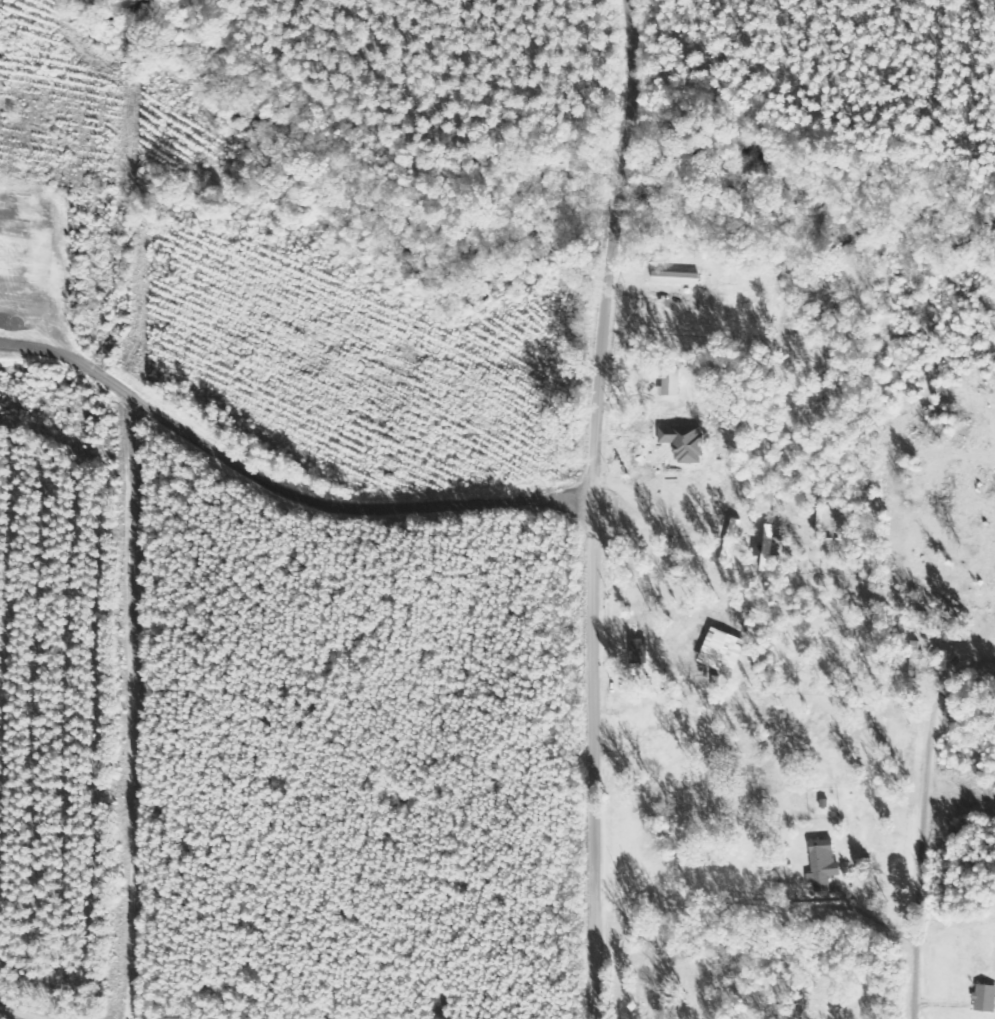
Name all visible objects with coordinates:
building: (678, 277)
building: (673, 382)
road: (603, 504)
building: (730, 539)
building: (637, 651)
road: (927, 820)
building: (821, 864)
road: (880, 920)
road: (208, 995)
building: (984, 998)

